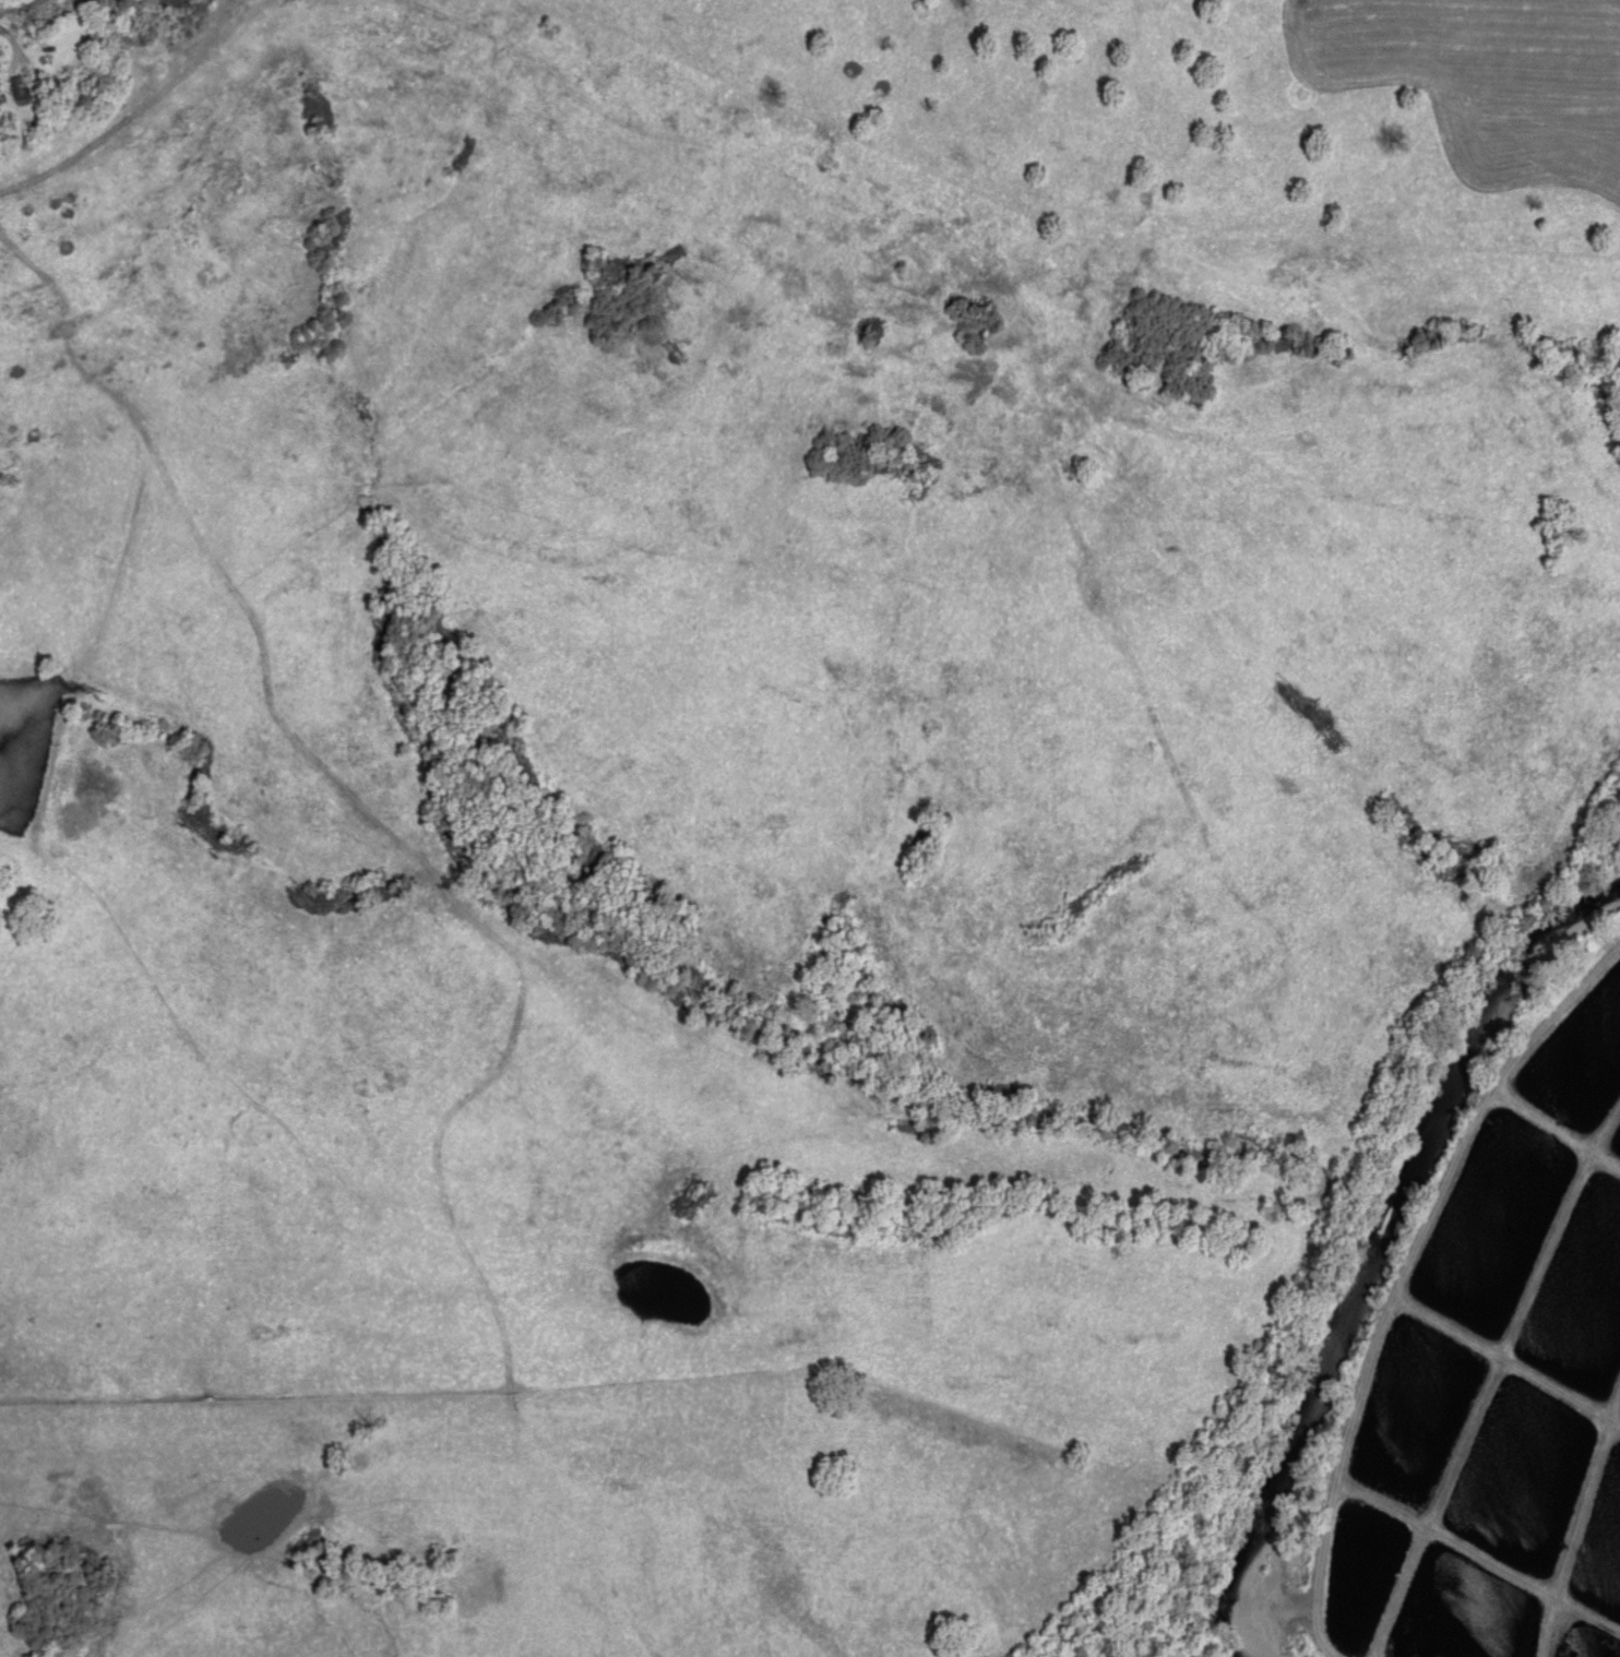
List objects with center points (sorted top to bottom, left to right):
road: (16, 8)
building: (20, 88)
building: (0, 106)

